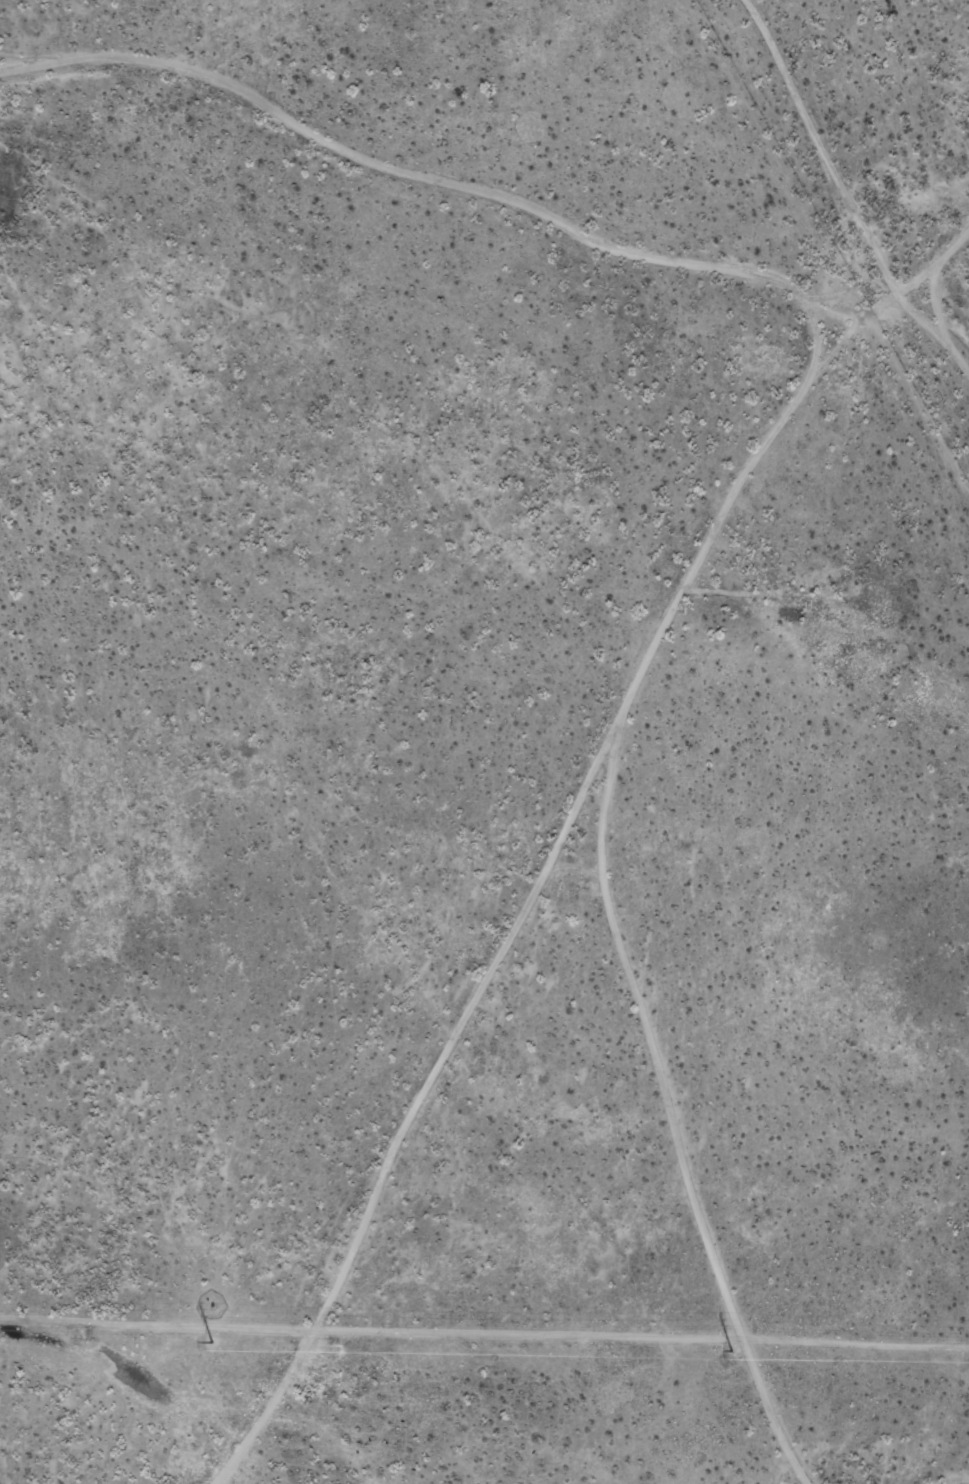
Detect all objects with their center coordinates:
road: (968, 276)
road: (733, 532)
road: (393, 1158)
road: (689, 1165)
power tower: (213, 1341)
power tower: (732, 1350)

